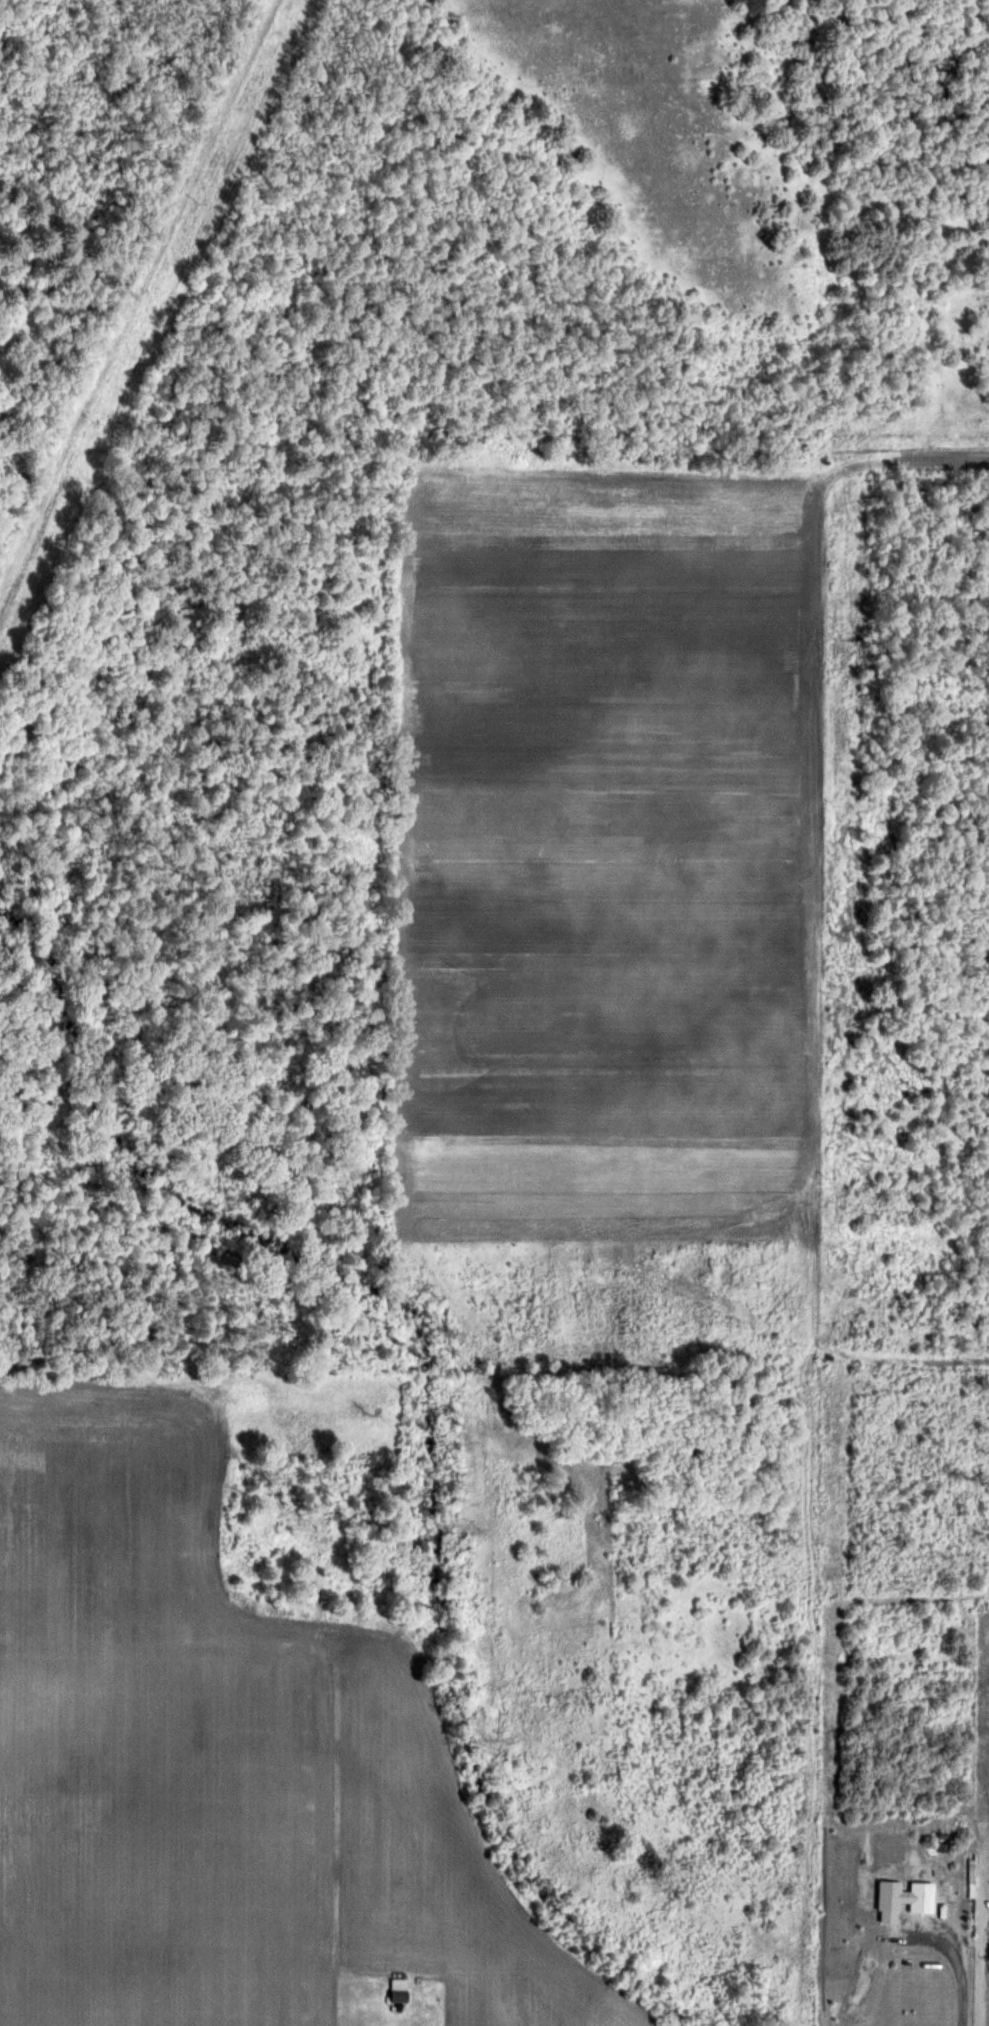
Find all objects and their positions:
building: (399, 1989)

